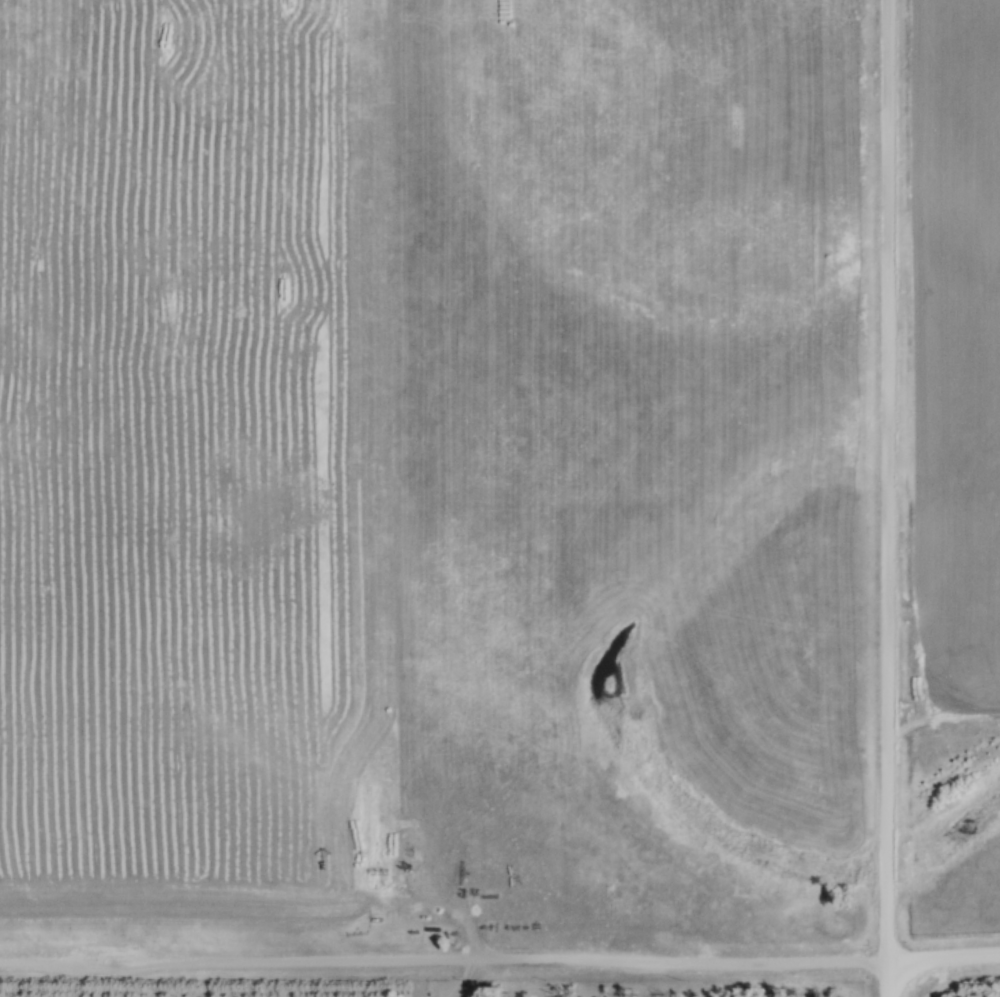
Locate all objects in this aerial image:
road: (889, 498)
road: (500, 961)

